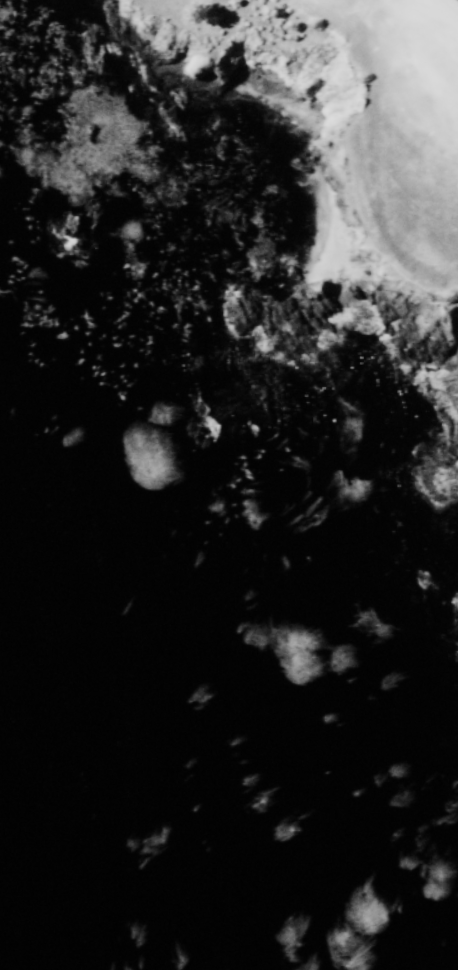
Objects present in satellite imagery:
park: (405, 129)
building: (71, 232)

